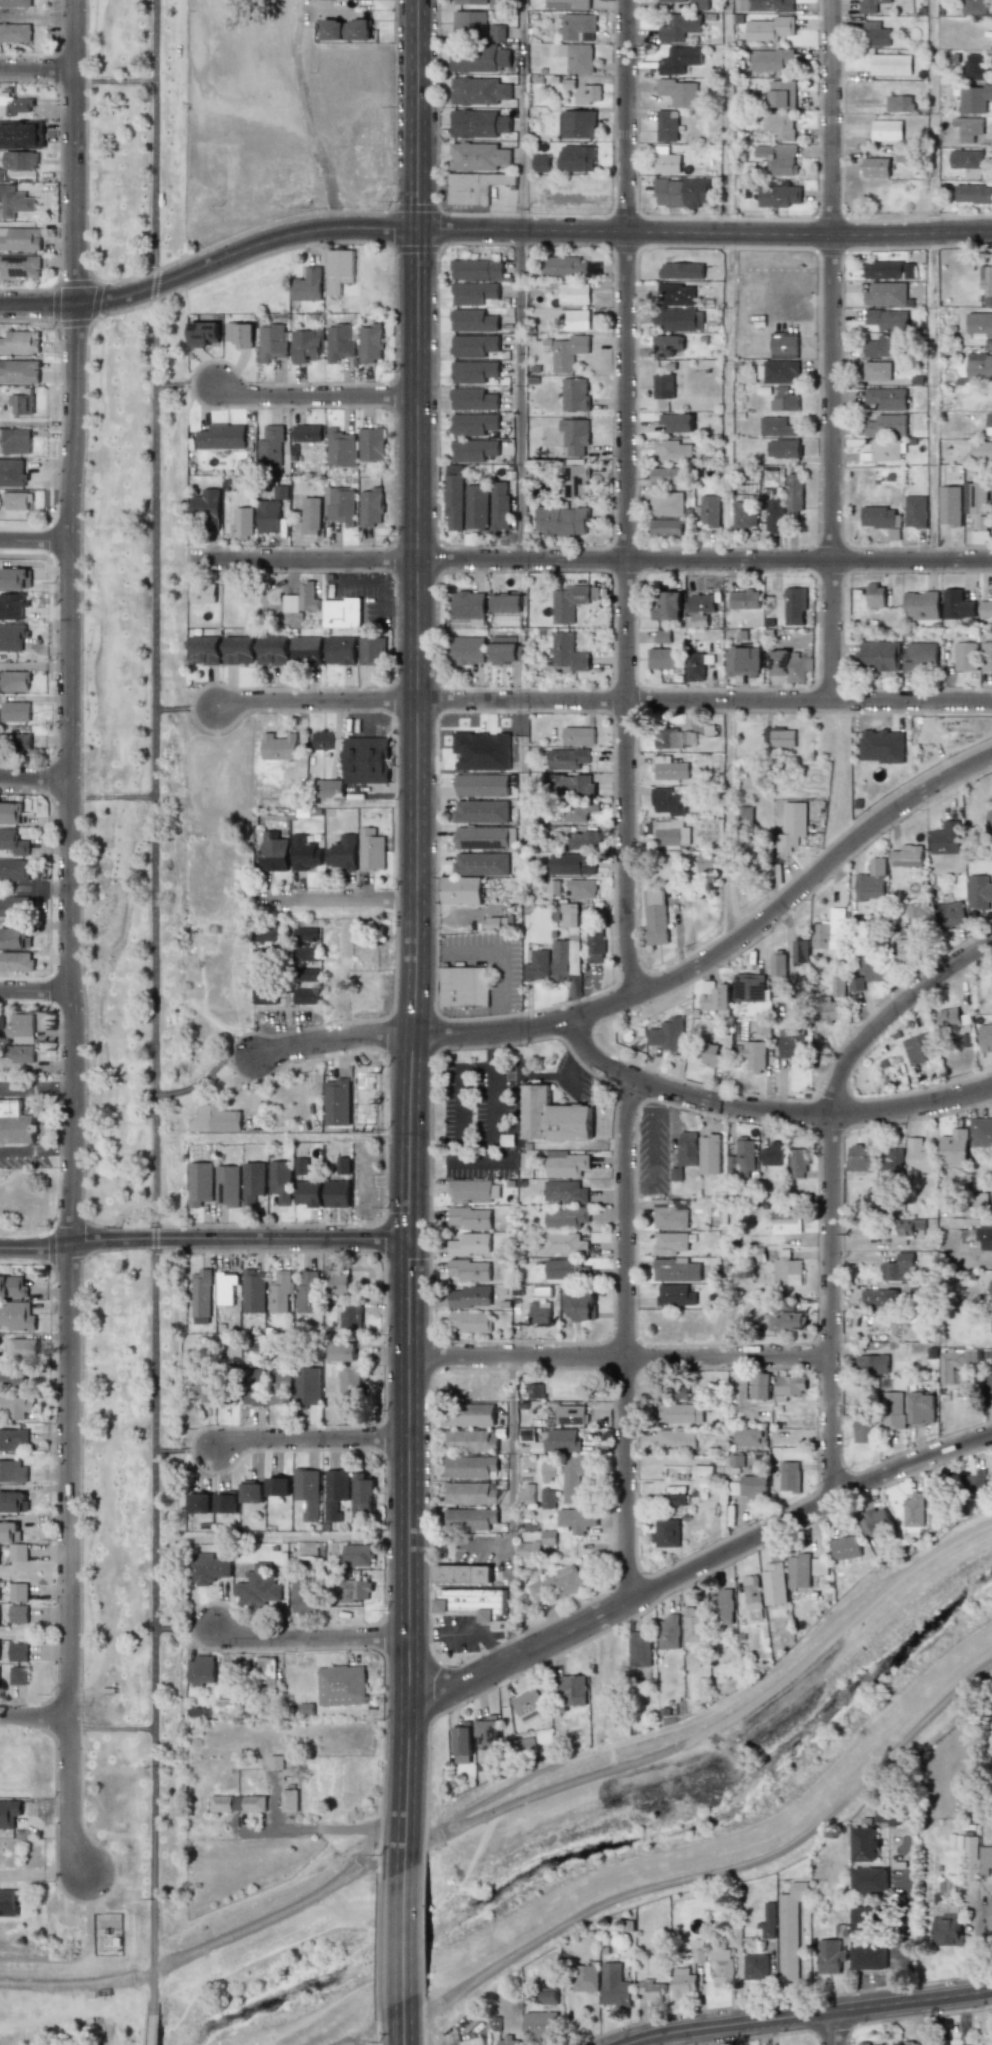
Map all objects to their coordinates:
building: (672, 1)
building: (470, 2)
building: (15, 3)
building: (567, 4)
building: (699, 5)
building: (871, 5)
building: (772, 6)
building: (469, 23)
building: (577, 27)
building: (679, 27)
building: (770, 29)
building: (346, 30)
building: (497, 32)
building: (15, 33)
building: (875, 34)
building: (577, 57)
building: (479, 59)
building: (770, 59)
building: (679, 60)
building: (890, 64)
building: (976, 67)
road: (37, 68)
road: (115, 80)
building: (478, 91)
building: (679, 92)
building: (588, 94)
building: (782, 94)
building: (974, 99)
building: (900, 103)
building: (18, 106)
road: (308, 116)
building: (478, 124)
building: (578, 124)
building: (667, 125)
building: (780, 125)
building: (968, 128)
building: (886, 130)
building: (21, 134)
building: (478, 157)
building: (577, 158)
building: (778, 159)
building: (20, 160)
building: (666, 161)
building: (967, 162)
building: (541, 163)
building: (876, 167)
building: (1, 174)
road: (37, 185)
building: (474, 187)
building: (681, 192)
building: (973, 193)
building: (779, 196)
building: (14, 201)
road: (489, 232)
building: (19, 239)
building: (19, 265)
building: (563, 266)
building: (477, 269)
building: (338, 270)
building: (682, 270)
building: (889, 270)
road: (937, 279)
road: (522, 280)
road: (730, 280)
building: (986, 283)
building: (307, 285)
building: (573, 293)
building: (475, 294)
building: (677, 294)
building: (886, 294)
building: (574, 319)
building: (679, 319)
building: (887, 319)
building: (473, 321)
building: (979, 325)
building: (203, 334)
building: (239, 335)
building: (20, 342)
building: (270, 342)
building: (339, 342)
building: (371, 343)
building: (784, 343)
building: (474, 345)
building: (668, 345)
building: (306, 346)
building: (883, 346)
road: (834, 350)
building: (566, 351)
building: (979, 367)
building: (19, 371)
building: (473, 371)
building: (877, 371)
building: (778, 372)
road: (184, 384)
building: (663, 386)
road: (315, 394)
building: (575, 394)
building: (886, 398)
building: (473, 399)
building: (784, 399)
building: (22, 402)
building: (677, 422)
building: (989, 423)
building: (473, 424)
building: (887, 425)
building: (777, 427)
building: (307, 433)
building: (221, 436)
building: (574, 436)
building: (15, 441)
building: (371, 444)
building: (270, 447)
building: (341, 448)
building: (783, 448)
building: (474, 450)
building: (672, 451)
building: (885, 451)
building: (981, 451)
building: (12, 472)
building: (666, 477)
building: (575, 481)
building: (794, 495)
building: (991, 495)
building: (454, 497)
building: (975, 498)
road: (626, 500)
building: (667, 503)
building: (340, 505)
building: (499, 505)
building: (950, 505)
building: (477, 506)
building: (370, 507)
building: (206, 509)
building: (710, 510)
building: (916, 511)
building: (742, 514)
building: (311, 515)
building: (268, 516)
building: (774, 516)
building: (878, 517)
building: (562, 521)
building: (981, 522)
building: (243, 523)
building: (666, 527)
road: (34, 538)
road: (589, 560)
road: (341, 570)
building: (15, 578)
road: (333, 581)
road: (382, 581)
building: (202, 593)
building: (875, 595)
building: (302, 599)
building: (744, 599)
building: (508, 602)
building: (567, 602)
building: (956, 604)
building: (12, 605)
building: (468, 605)
building: (921, 605)
building: (667, 606)
building: (794, 606)
building: (699, 608)
building: (985, 609)
building: (341, 613)
building: (663, 636)
building: (12, 637)
building: (238, 649)
building: (468, 649)
building: (204, 650)
building: (272, 650)
building: (306, 650)
building: (340, 650)
building: (506, 650)
building: (371, 652)
building: (568, 652)
building: (921, 655)
building: (878, 656)
building: (965, 656)
building: (986, 656)
building: (663, 658)
building: (744, 661)
building: (789, 665)
building: (697, 666)
building: (15, 681)
road: (603, 700)
road: (185, 707)
building: (15, 712)
building: (578, 735)
building: (779, 737)
building: (322, 740)
building: (20, 743)
building: (881, 746)
building: (279, 747)
building: (567, 758)
building: (366, 760)
building: (669, 768)
road: (34, 776)
building: (481, 785)
building: (571, 785)
building: (329, 788)
road: (111, 796)
building: (667, 802)
road: (336, 805)
building: (585, 809)
building: (481, 811)
building: (11, 813)
building: (743, 814)
building: (989, 819)
road: (731, 823)
building: (792, 826)
building: (671, 833)
building: (481, 837)
building: (946, 838)
building: (582, 840)
building: (13, 842)
building: (371, 850)
building: (273, 851)
building: (341, 853)
building: (304, 854)
building: (907, 856)
building: (481, 864)
building: (572, 864)
building: (709, 864)
road: (526, 866)
building: (15, 870)
building: (582, 888)
building: (870, 888)
building: (461, 890)
building: (979, 892)
road: (336, 905)
building: (13, 906)
building: (916, 913)
building: (951, 914)
building: (655, 916)
building: (497, 923)
building: (830, 931)
building: (306, 933)
building: (266, 934)
road: (69, 936)
road: (419, 936)
building: (14, 938)
building: (567, 944)
road: (499, 947)
building: (595, 947)
road: (428, 948)
building: (908, 949)
building: (800, 951)
building: (306, 954)
building: (16, 961)
building: (537, 966)
building: (873, 966)
building: (778, 967)
building: (307, 975)
building: (857, 983)
building: (838, 984)
building: (465, 986)
road: (34, 989)
building: (749, 991)
road: (653, 994)
building: (306, 996)
building: (265, 997)
building: (715, 997)
road: (154, 1001)
building: (827, 1008)
road: (893, 1015)
building: (951, 1017)
building: (1, 1022)
building: (762, 1027)
building: (21, 1028)
building: (668, 1035)
building: (985, 1037)
building: (791, 1042)
building: (918, 1048)
road: (490, 1051)
building: (20, 1053)
building: (754, 1055)
building: (712, 1056)
road: (473, 1066)
road: (204, 1076)
road: (515, 1084)
road: (22, 1086)
road: (57, 1087)
building: (337, 1102)
road: (765, 1108)
road: (455, 1113)
road: (490, 1114)
building: (554, 1118)
building: (215, 1119)
building: (15, 1124)
building: (981, 1132)
road: (295, 1140)
road: (472, 1140)
building: (954, 1147)
road: (651, 1148)
building: (687, 1150)
road: (56, 1153)
building: (776, 1153)
road: (21, 1154)
building: (919, 1156)
building: (745, 1157)
building: (860, 1158)
road: (472, 1161)
road: (502, 1162)
building: (798, 1163)
building: (566, 1164)
building: (343, 1165)
building: (893, 1165)
building: (280, 1181)
building: (253, 1182)
building: (200, 1184)
road: (638, 1185)
building: (227, 1186)
building: (473, 1191)
building: (565, 1191)
building: (307, 1194)
building: (336, 1194)
building: (671, 1213)
building: (471, 1218)
building: (566, 1218)
building: (784, 1220)
building: (909, 1227)
road: (729, 1228)
road: (201, 1237)
building: (985, 1237)
building: (670, 1243)
building: (950, 1243)
building: (565, 1244)
building: (471, 1245)
building: (900, 1268)
building: (787, 1269)
building: (471, 1270)
building: (566, 1270)
building: (676, 1270)
building: (340, 1282)
building: (12, 1287)
building: (226, 1287)
building: (253, 1291)
building: (280, 1292)
building: (307, 1293)
building: (675, 1295)
building: (201, 1297)
building: (471, 1297)
building: (879, 1297)
road: (832, 1306)
building: (581, 1307)
building: (540, 1313)
building: (17, 1316)
building: (351, 1316)
building: (471, 1321)
building: (790, 1321)
building: (905, 1327)
road: (625, 1335)
road: (296, 1340)
building: (19, 1348)
building: (341, 1351)
road: (618, 1355)
building: (873, 1364)
building: (947, 1368)
building: (13, 1378)
building: (989, 1382)
building: (350, 1385)
building: (307, 1386)
building: (253, 1387)
building: (761, 1387)
building: (789, 1387)
building: (279, 1389)
building: (535, 1390)
building: (17, 1404)
building: (922, 1409)
building: (892, 1410)
building: (680, 1413)
building: (472, 1414)
building: (862, 1429)
building: (527, 1436)
building: (677, 1438)
building: (751, 1438)
building: (12, 1439)
road: (309, 1441)
building: (470, 1441)
building: (562, 1441)
road: (185, 1450)
building: (470, 1466)
building: (702, 1470)
building: (13, 1471)
building: (547, 1472)
building: (789, 1476)
building: (574, 1477)
building: (973, 1482)
building: (753, 1486)
building: (278, 1489)
building: (335, 1491)
building: (251, 1492)
building: (307, 1492)
building: (469, 1493)
building: (527, 1493)
building: (363, 1495)
building: (548, 1499)
building: (675, 1499)
building: (13, 1502)
building: (226, 1502)
building: (937, 1502)
building: (199, 1503)
road: (514, 1508)
building: (913, 1511)
building: (470, 1519)
building: (575, 1520)
building: (874, 1522)
building: (9, 1532)
building: (667, 1533)
road: (959, 1539)
road: (296, 1541)
building: (846, 1547)
building: (528, 1549)
building: (18, 1552)
building: (357, 1555)
road: (696, 1568)
building: (207, 1569)
building: (798, 1571)
building: (462, 1574)
building: (557, 1583)
building: (774, 1584)
building: (259, 1587)
building: (354, 1590)
building: (18, 1592)
building: (751, 1592)
building: (304, 1596)
building: (473, 1602)
building: (724, 1607)
building: (18, 1614)
building: (693, 1625)
road: (184, 1628)
building: (669, 1632)
road: (307, 1639)
building: (640, 1649)
building: (18, 1651)
building: (266, 1668)
building: (200, 1670)
building: (18, 1675)
building: (341, 1685)
building: (570, 1690)
building: (527, 1705)
road: (33, 1717)
road: (111, 1727)
building: (487, 1732)
building: (462, 1739)
building: (283, 1762)
building: (289, 1800)
building: (237, 1803)
building: (9, 1813)
building: (892, 1815)
road: (313, 1826)
road: (406, 1845)
building: (864, 1845)
building: (970, 1858)
building: (985, 1860)
road: (716, 1870)
building: (869, 1881)
building: (8, 1903)
building: (990, 1917)
building: (862, 1918)
building: (768, 1921)
road: (905, 1921)
building: (947, 1926)
building: (790, 1931)
road: (404, 1935)
road: (216, 1942)
road: (978, 1949)
road: (83, 1953)
building: (830, 1956)
building: (869, 1958)
building: (755, 1967)
building: (722, 1968)
building: (584, 1978)
building: (683, 1982)
building: (614, 1986)
building: (651, 1990)
building: (548, 1995)
road: (806, 2015)
road: (404, 2022)
road: (154, 2023)
building: (539, 2027)
road: (836, 2028)
building: (473, 2041)
building: (508, 2041)
building: (866, 2043)
building: (909, 2043)

